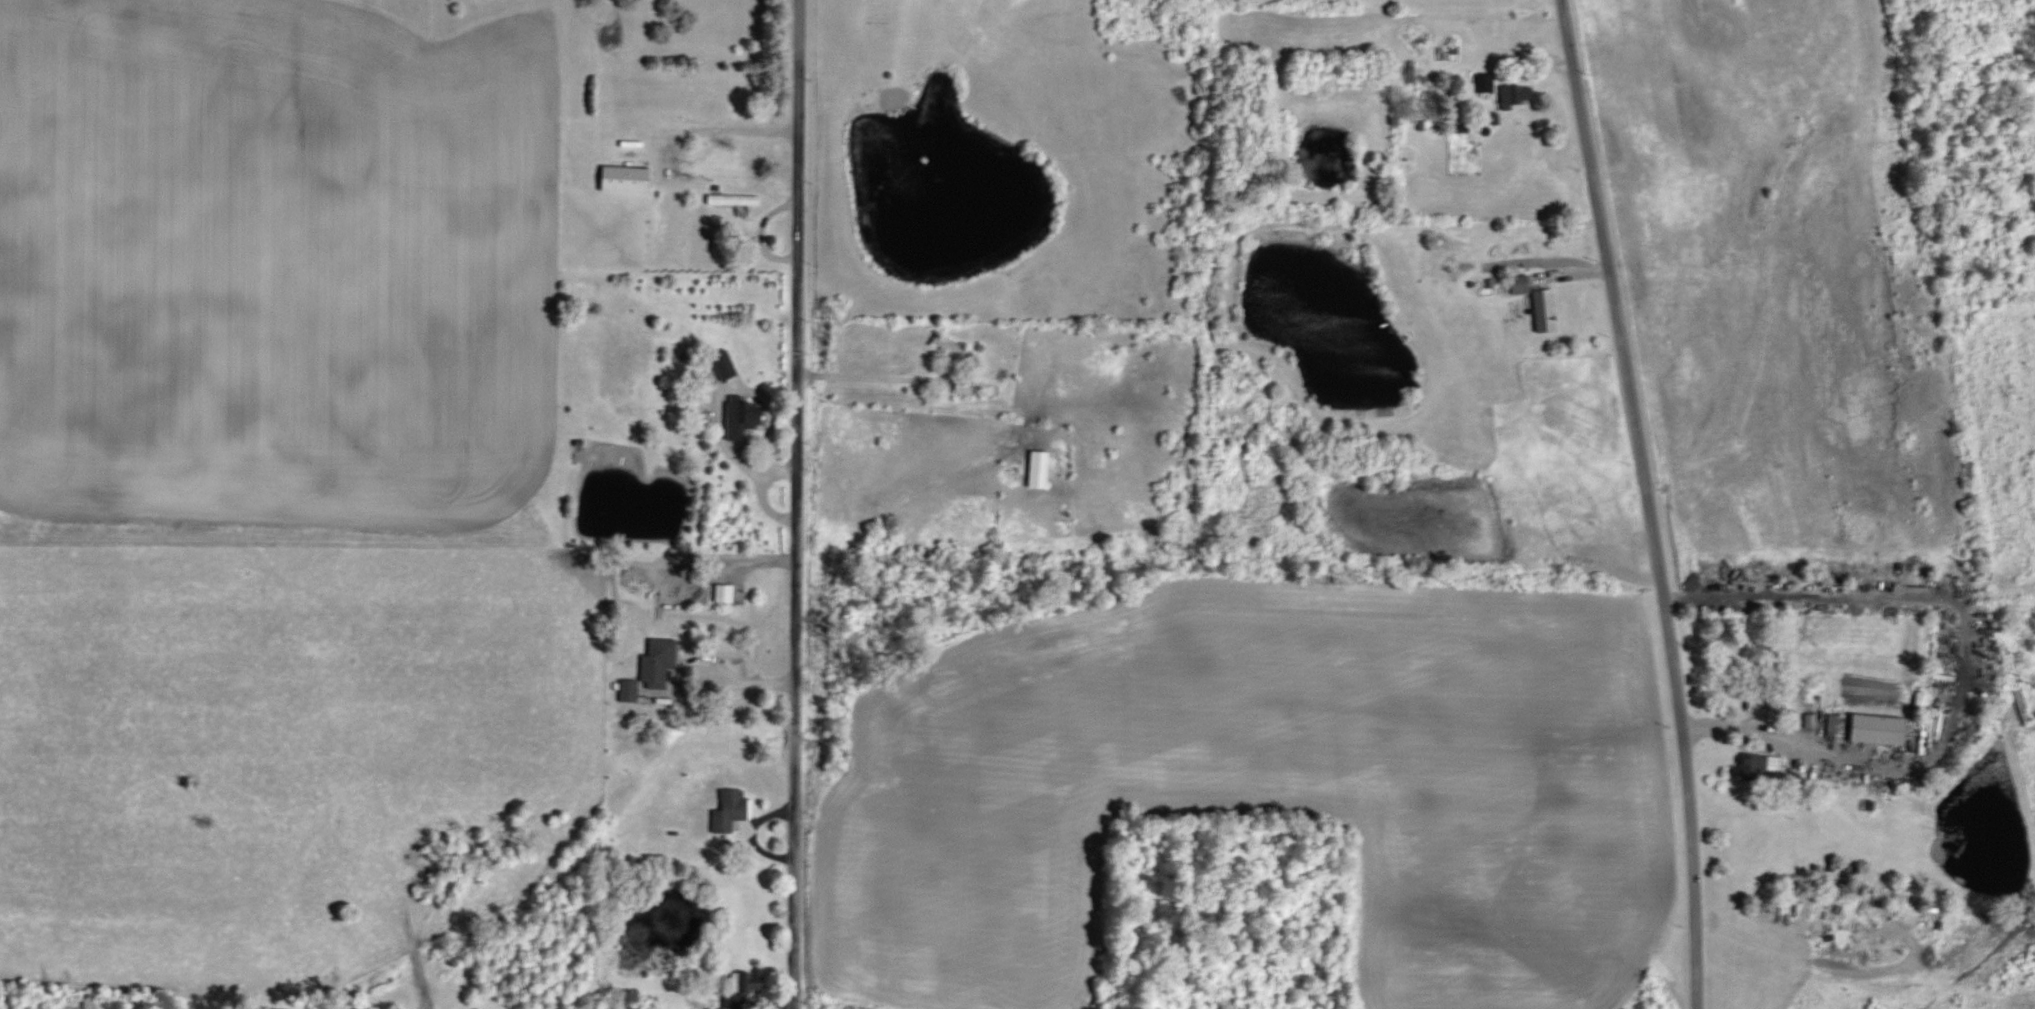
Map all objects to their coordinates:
building: (1488, 82)
building: (1522, 95)
road: (730, 128)
building: (630, 178)
building: (737, 199)
building: (1543, 304)
building: (956, 346)
road: (870, 376)
building: (969, 385)
building: (747, 418)
building: (1043, 469)
road: (1644, 502)
road: (791, 504)
building: (727, 593)
building: (663, 661)
road: (1959, 668)
building: (632, 689)
building: (1874, 730)
building: (732, 813)
building: (740, 984)

